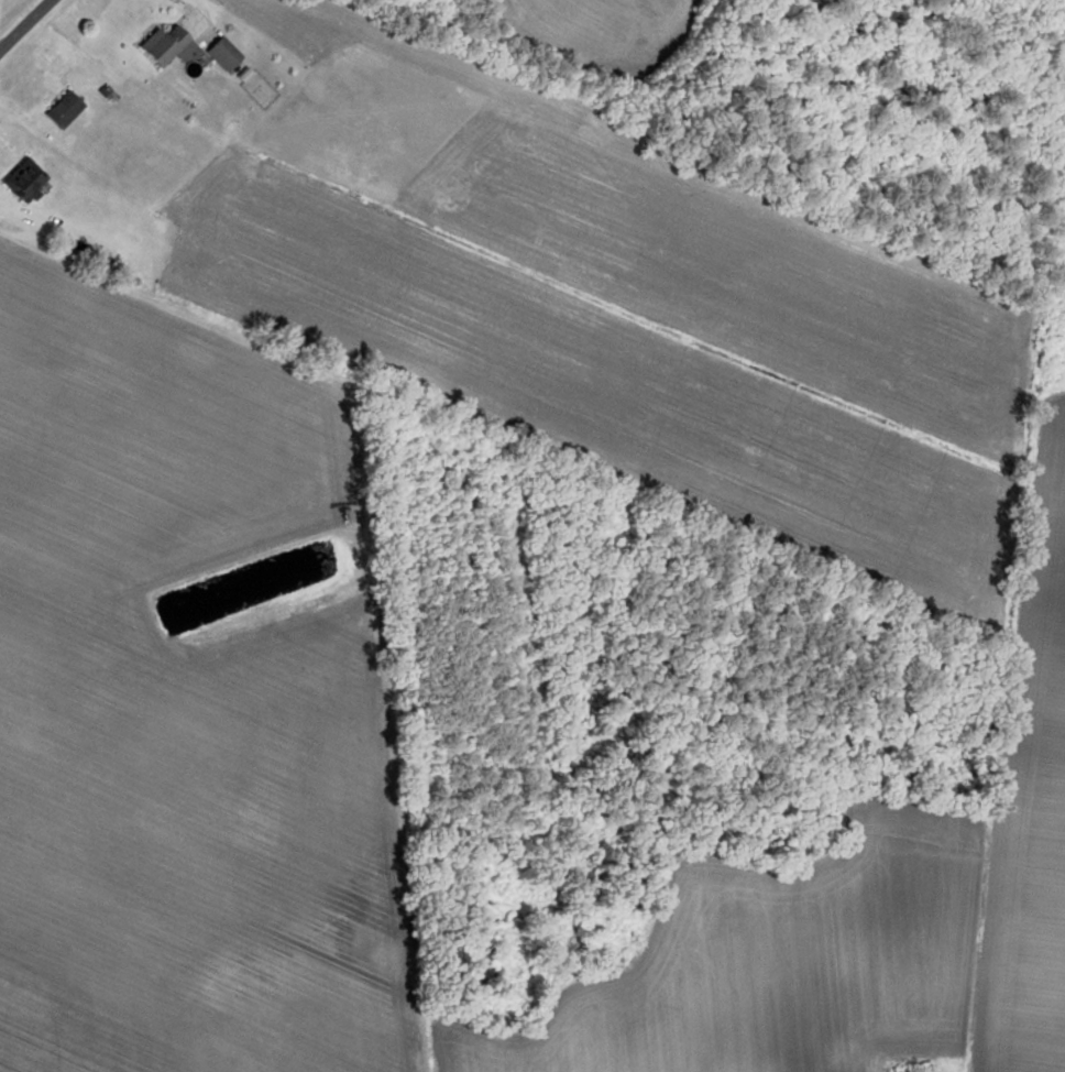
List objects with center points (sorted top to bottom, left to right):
road: (189, 10)
road: (23, 23)
building: (158, 44)
building: (220, 53)
building: (61, 109)
road: (30, 112)
building: (22, 181)
building: (852, 1059)
building: (914, 1068)

